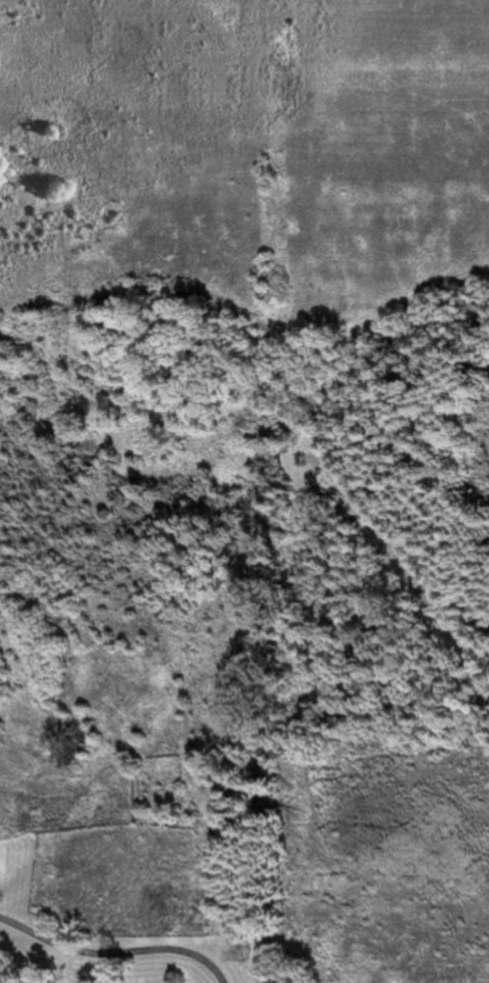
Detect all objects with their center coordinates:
road: (410, 566)
building: (1, 846)
road: (221, 945)

